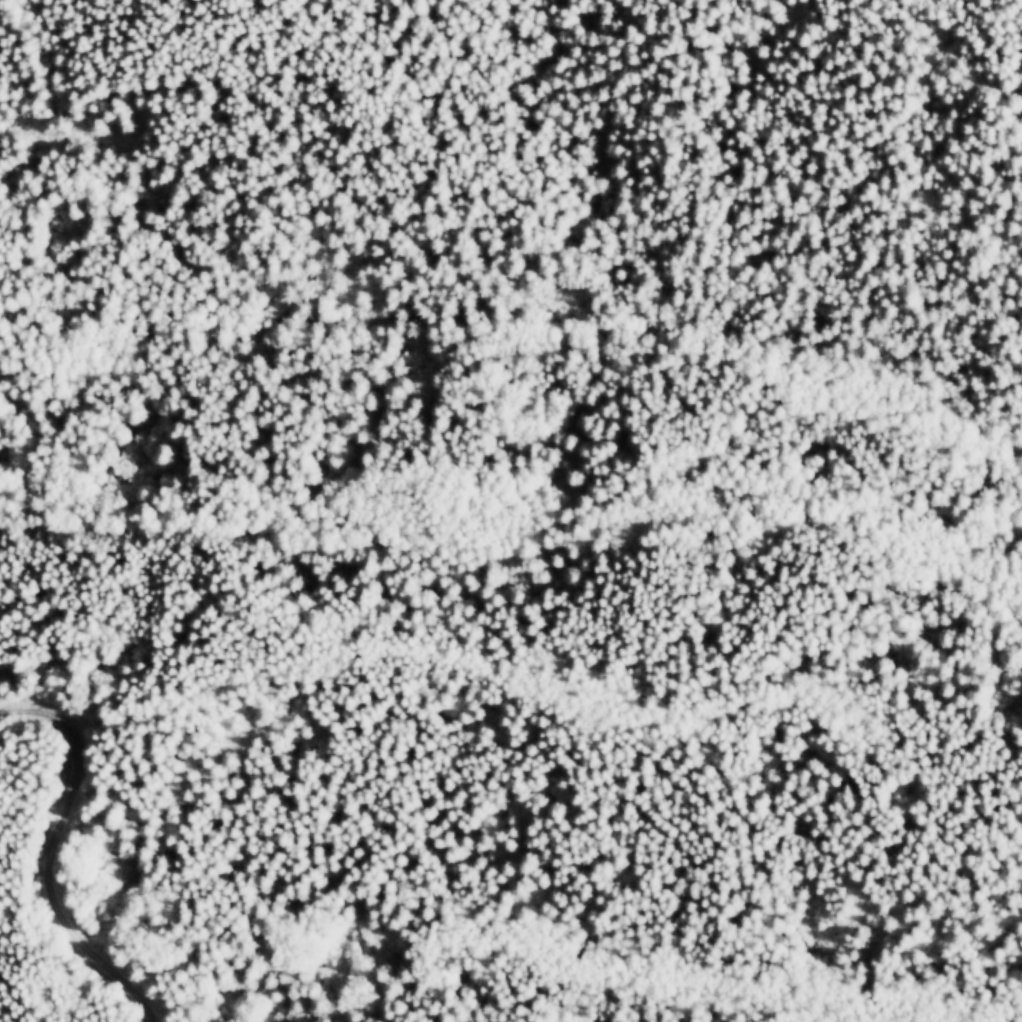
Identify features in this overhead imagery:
road: (516, 472)
road: (50, 854)

